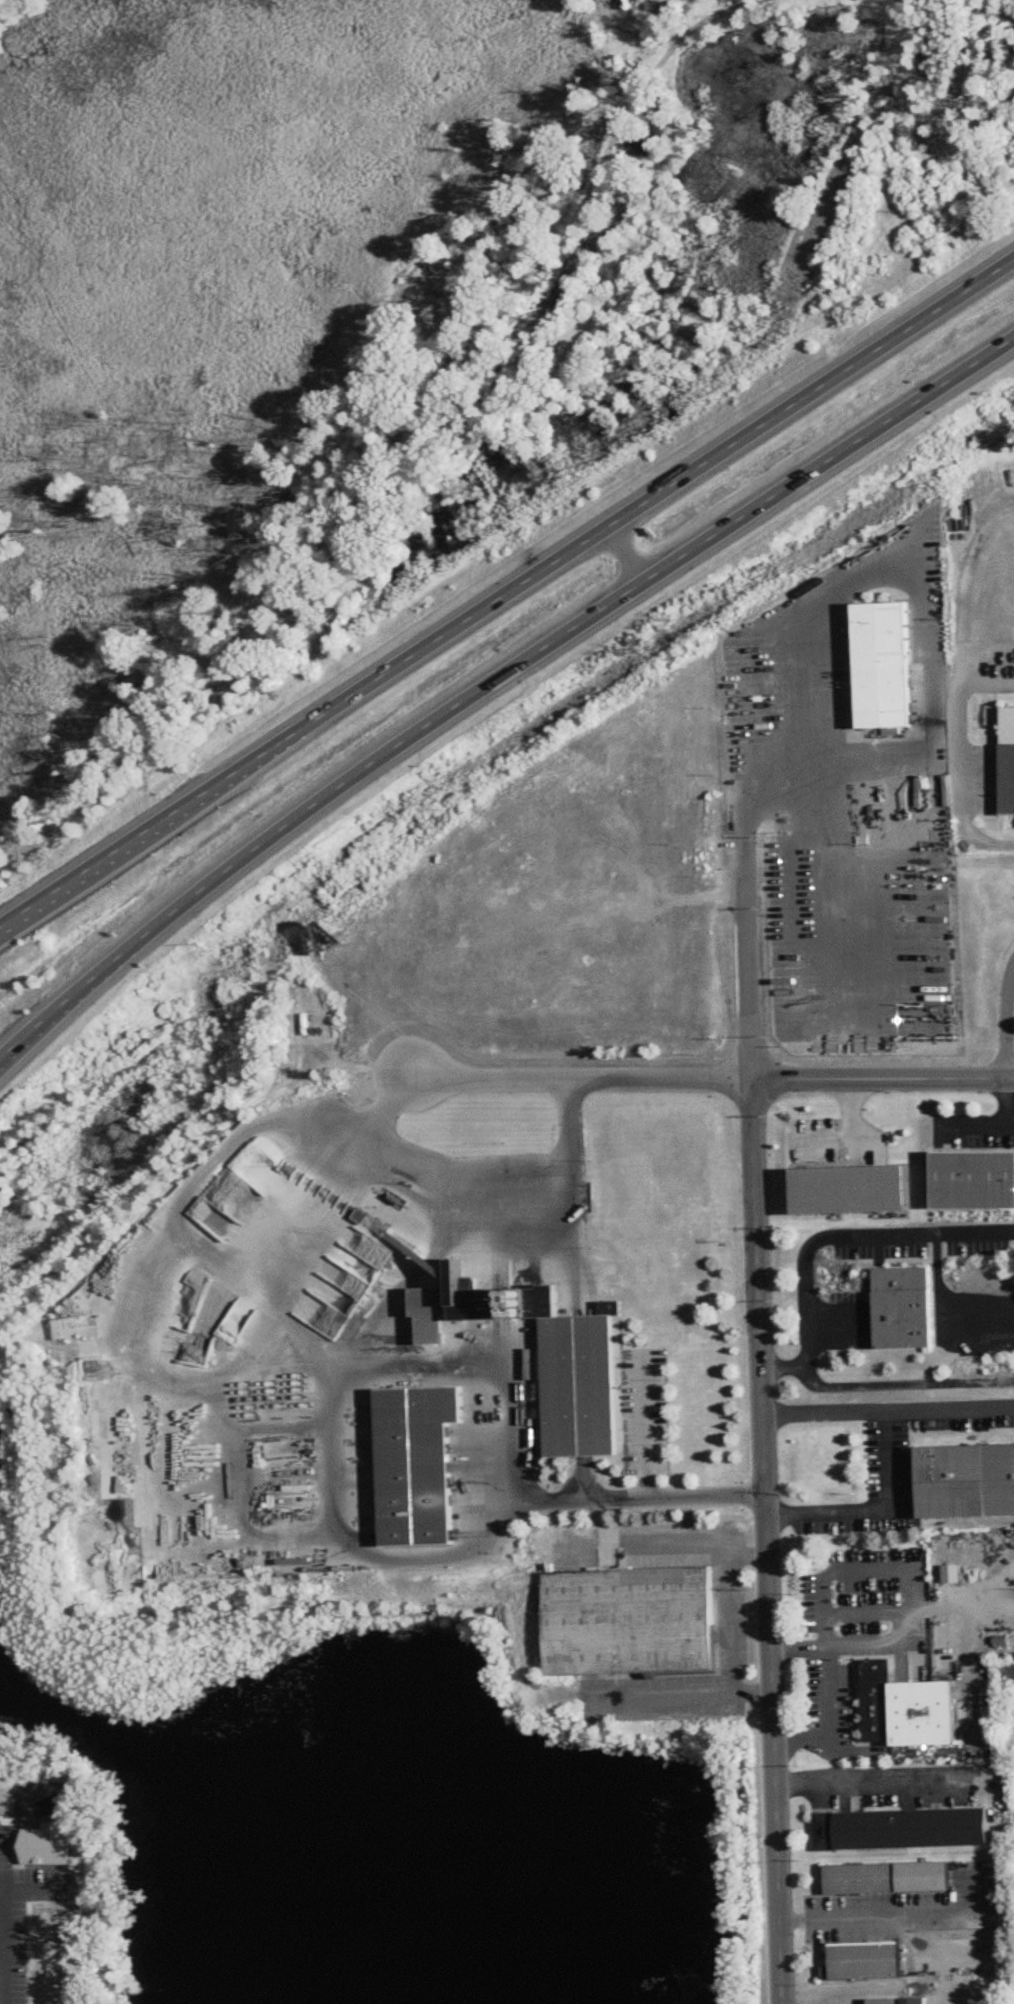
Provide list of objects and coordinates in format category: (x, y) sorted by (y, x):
road: (629, 553)
road: (506, 593)
road: (817, 608)
building: (883, 667)
road: (494, 682)
road: (959, 758)
building: (1008, 762)
building: (306, 1019)
road: (1008, 1027)
road: (748, 1048)
road: (581, 1080)
road: (881, 1080)
road: (1005, 1127)
road: (854, 1133)
building: (249, 1158)
road: (476, 1177)
building: (973, 1181)
building: (848, 1191)
road: (850, 1235)
building: (904, 1309)
building: (432, 1319)
road: (782, 1367)
road: (903, 1384)
building: (580, 1387)
road: (950, 1411)
road: (887, 1456)
building: (418, 1465)
building: (965, 1482)
road: (235, 1497)
road: (767, 1541)
road: (849, 1607)
building: (628, 1622)
road: (730, 1627)
road: (823, 1692)
building: (906, 1712)
road: (877, 1778)
building: (898, 1830)
building: (888, 1879)
road: (3, 1888)
road: (37, 1890)
road: (3, 1891)
road: (872, 1913)
road: (6, 1947)
road: (939, 1953)
building: (864, 1962)
building: (899, 2001)

